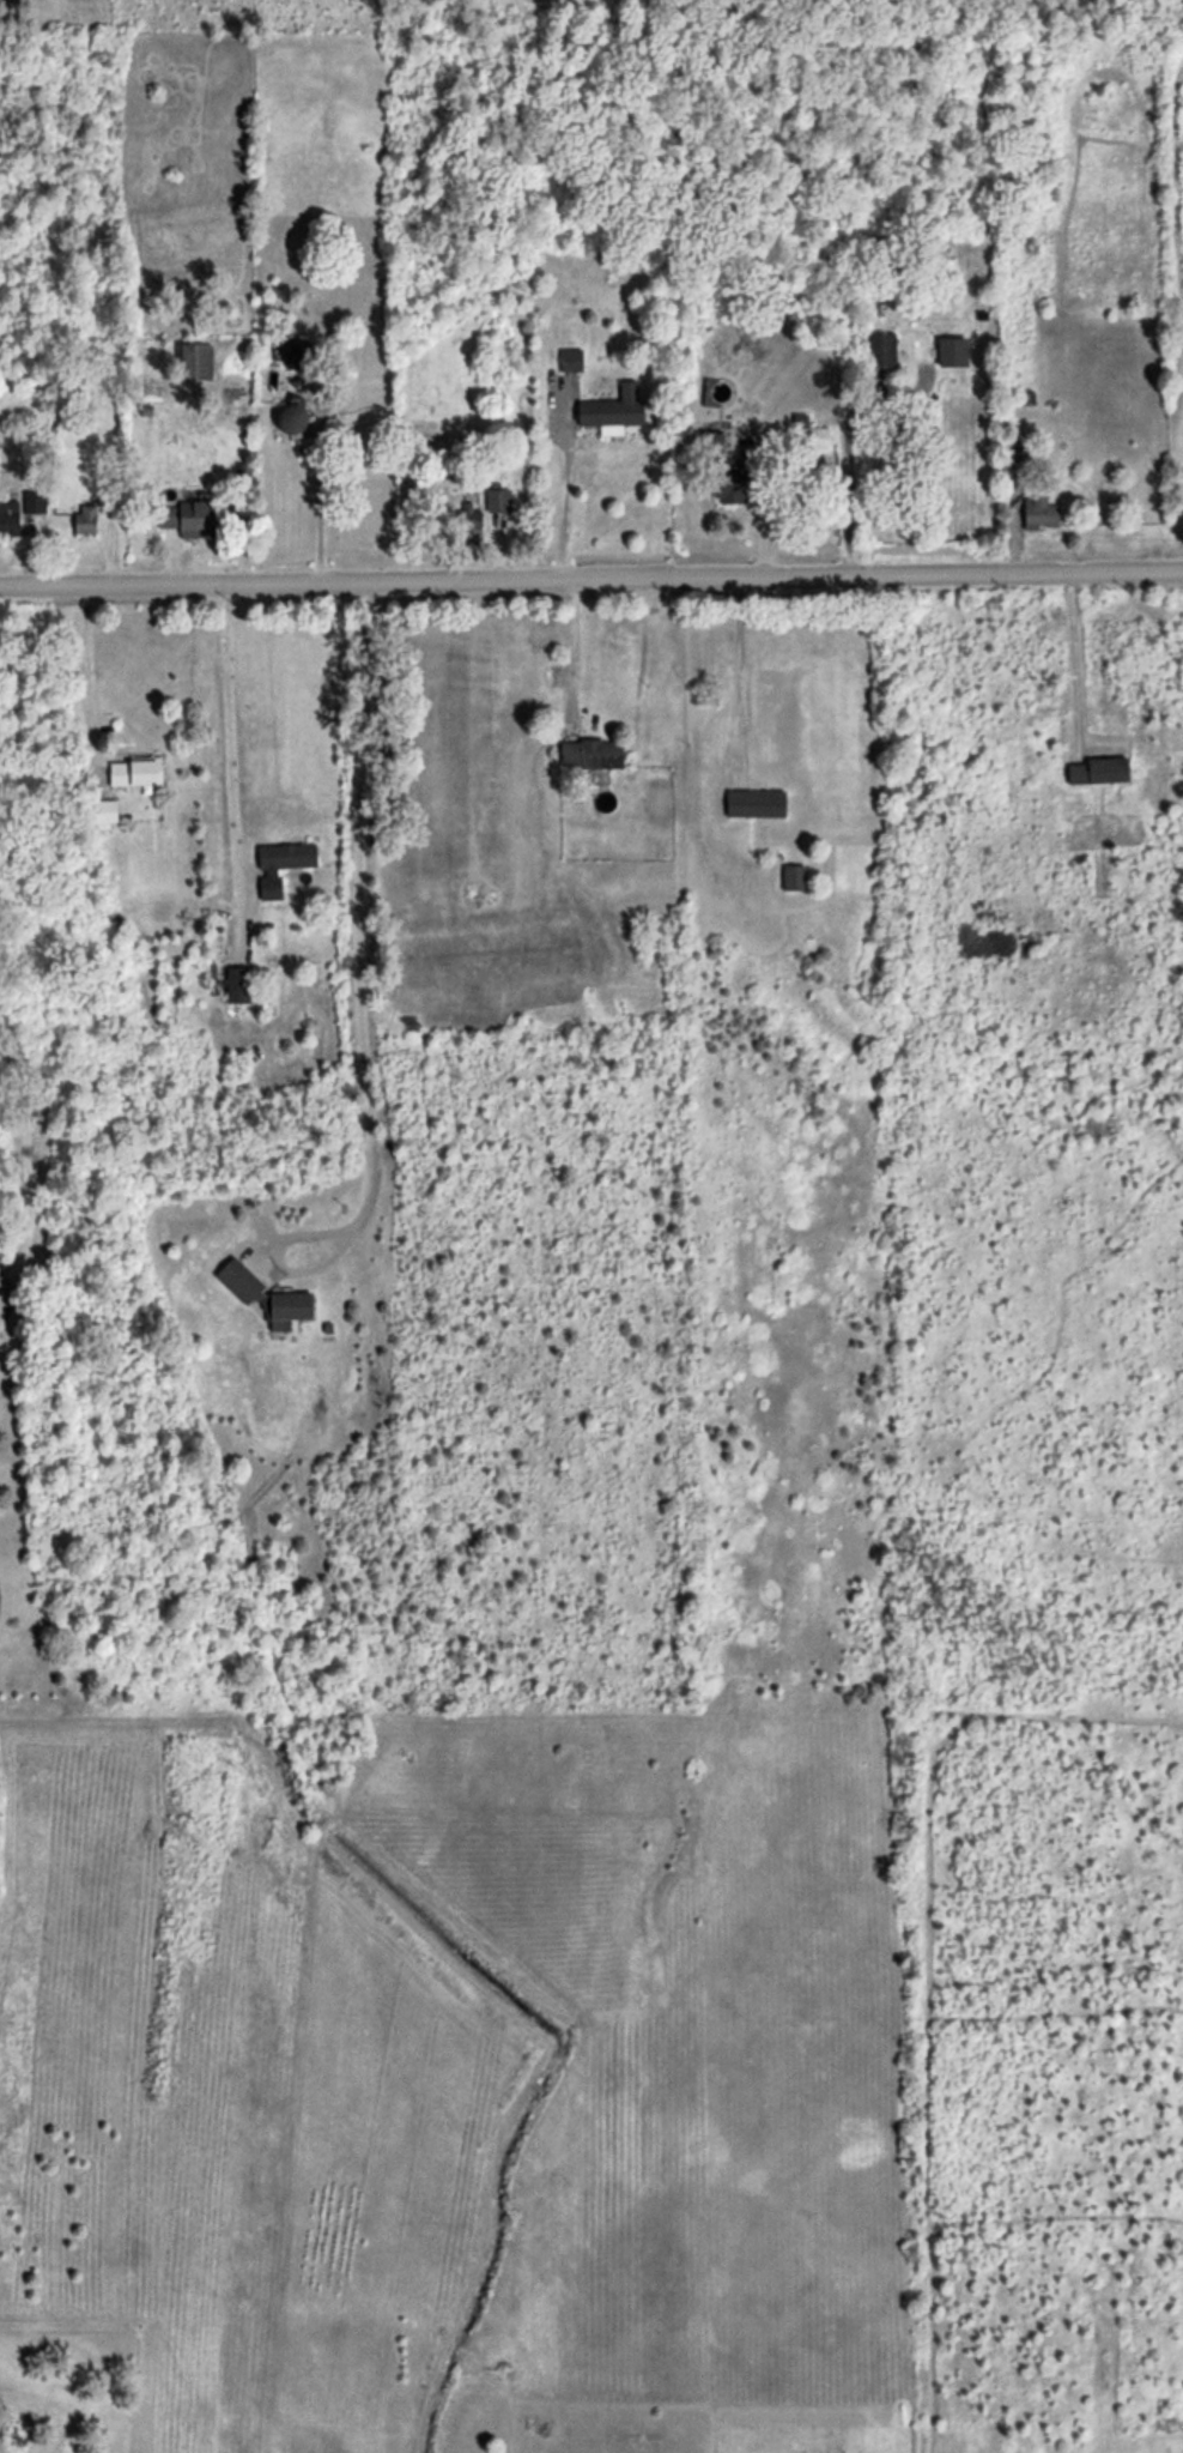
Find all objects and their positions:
building: (881, 349)
building: (953, 351)
building: (292, 355)
building: (570, 358)
building: (194, 361)
building: (613, 410)
building: (292, 412)
building: (814, 437)
road: (847, 449)
building: (730, 478)
road: (317, 490)
road: (564, 497)
building: (498, 500)
building: (34, 501)
building: (1039, 512)
building: (8, 516)
building: (85, 518)
building: (188, 518)
road: (591, 573)
road: (576, 654)
road: (1072, 658)
road: (741, 673)
road: (87, 683)
building: (590, 753)
road: (226, 757)
building: (1098, 769)
building: (136, 771)
building: (756, 802)
building: (103, 812)
building: (280, 864)
building: (794, 876)
building: (238, 984)
road: (356, 1011)
road: (22, 1152)
road: (7, 1268)
building: (239, 1280)
road: (6, 1286)
building: (286, 1309)

